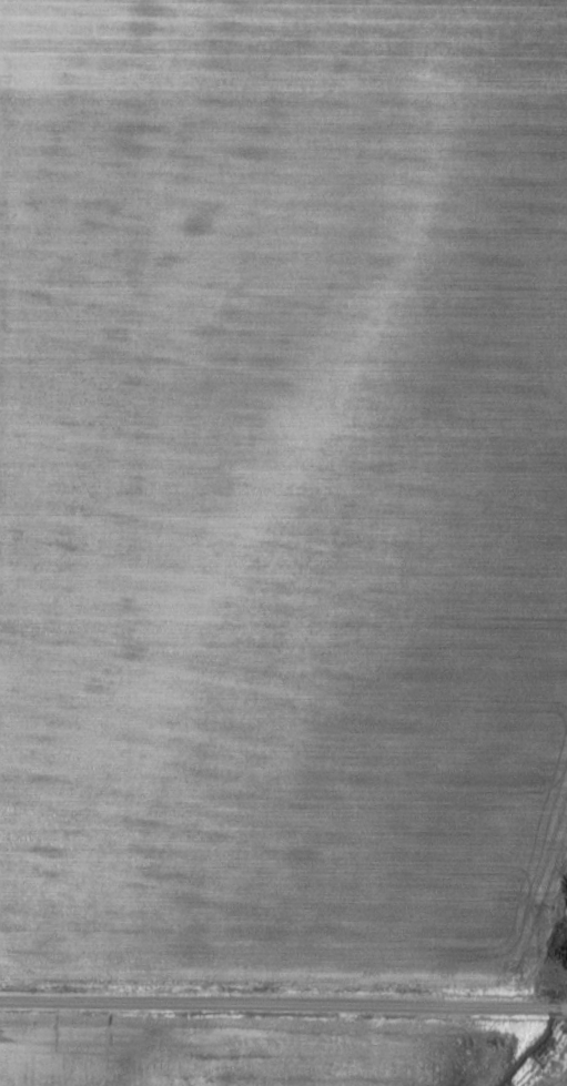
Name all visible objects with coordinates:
road: (283, 1007)

